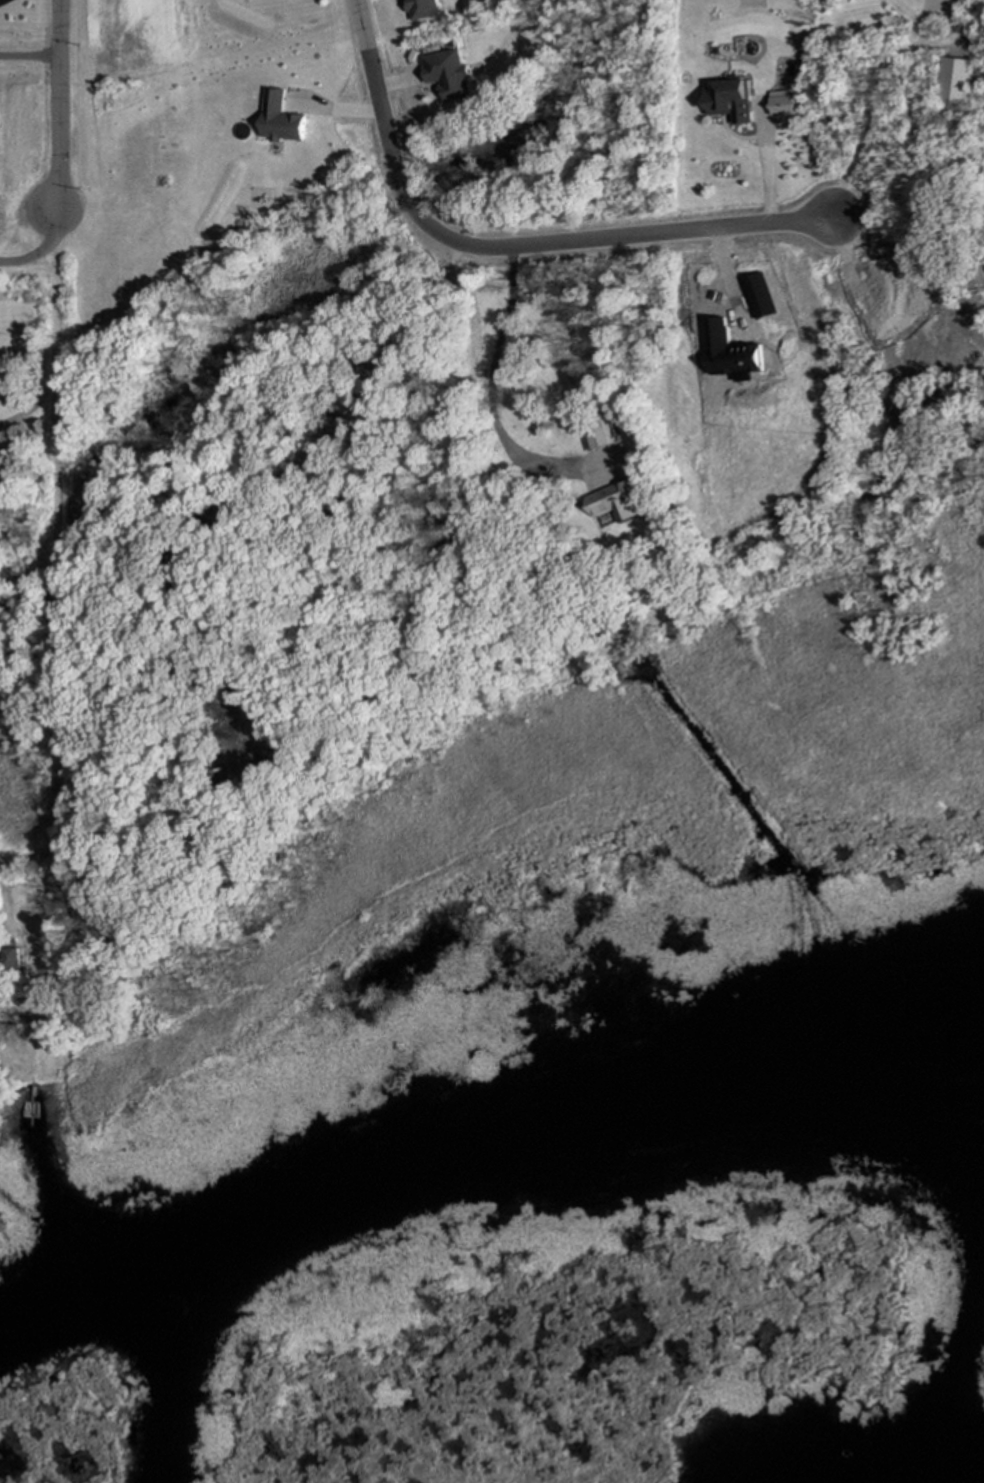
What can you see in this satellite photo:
road: (1, 0)
building: (423, 9)
road: (29, 55)
road: (886, 63)
building: (449, 75)
building: (958, 81)
building: (731, 100)
building: (785, 103)
road: (58, 106)
building: (281, 119)
road: (764, 151)
road: (504, 242)
road: (27, 260)
road: (505, 332)
road: (481, 377)
road: (31, 407)
building: (597, 437)
road: (55, 557)
building: (12, 959)

